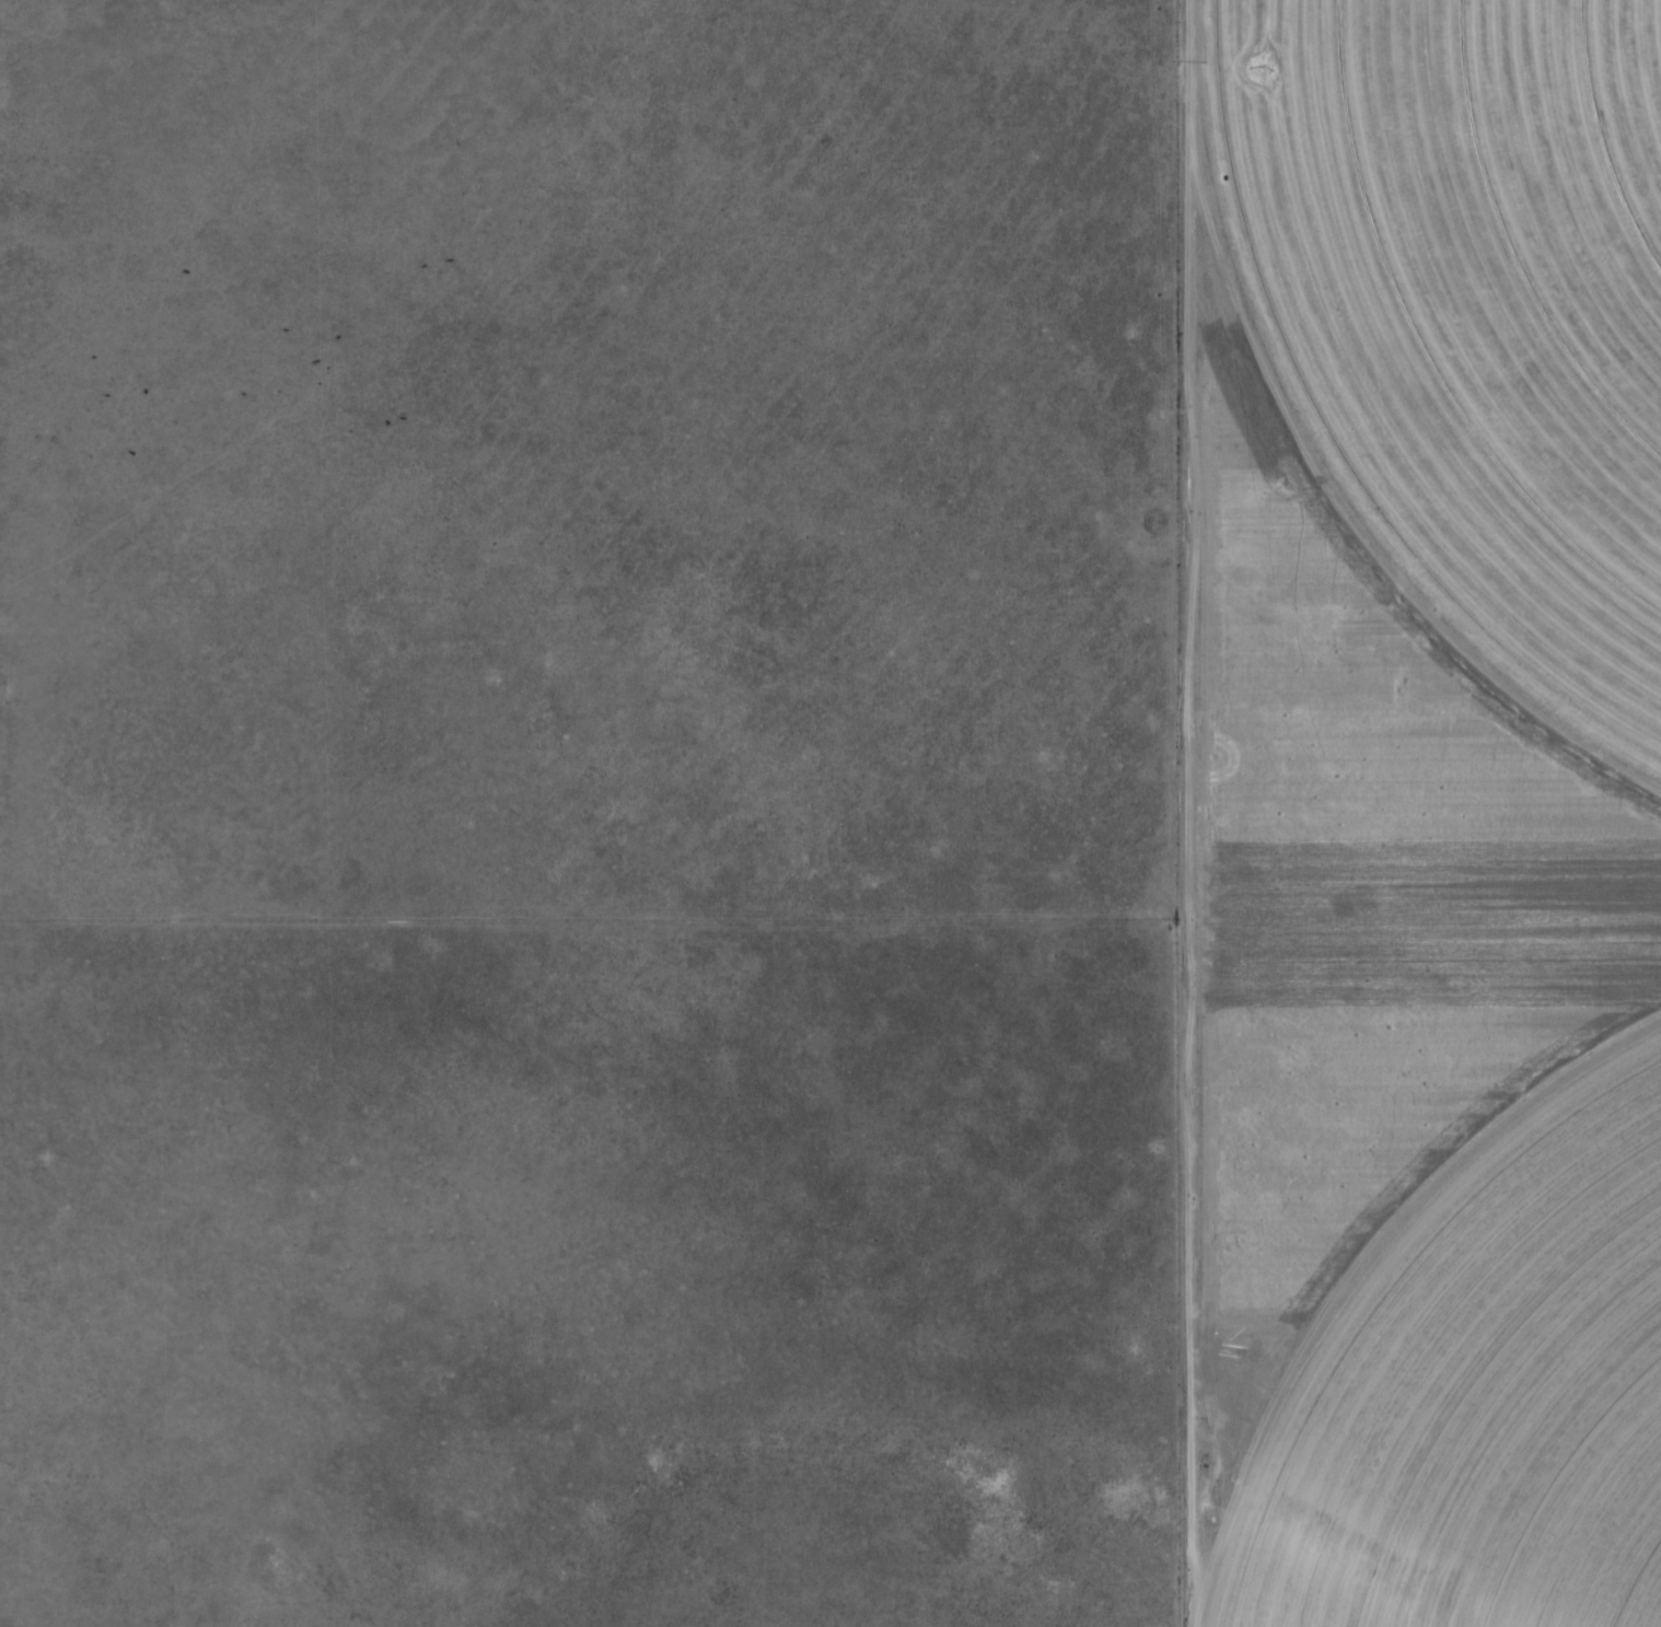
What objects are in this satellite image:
crop: (1462, 317)
road: (1201, 813)

